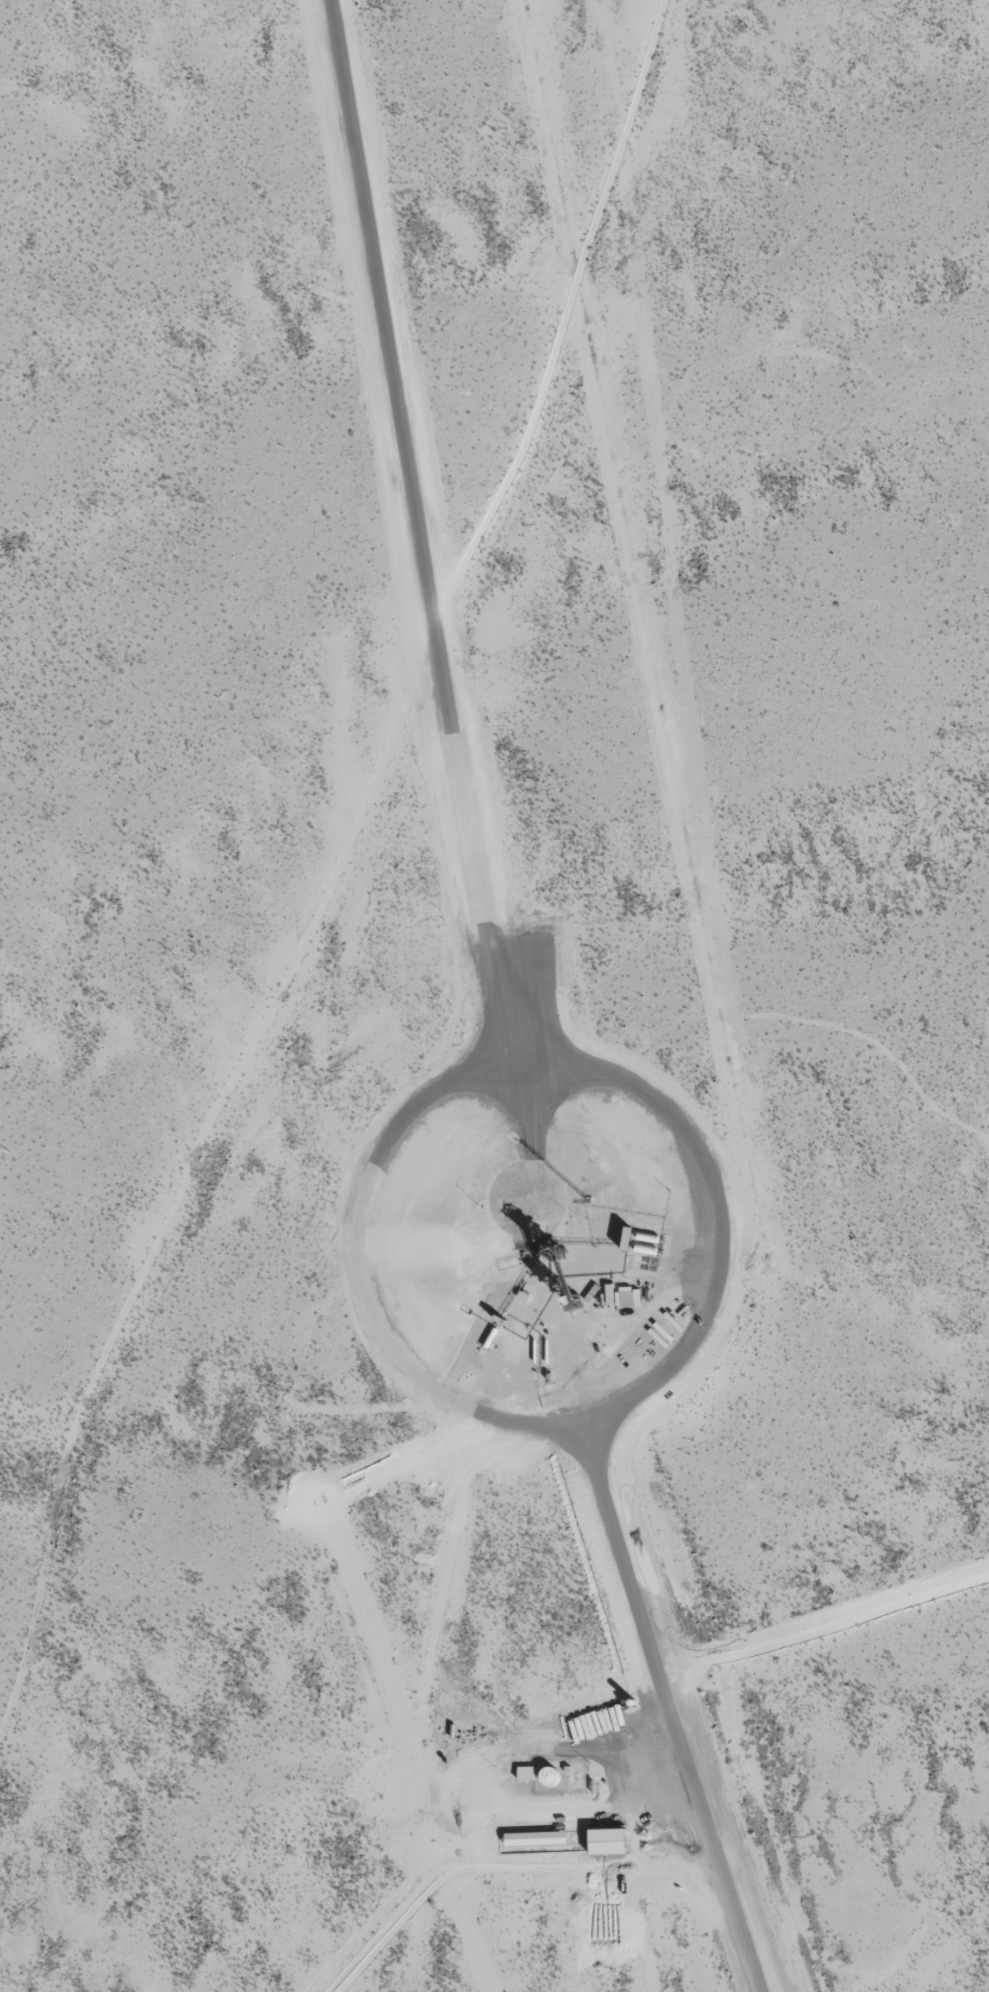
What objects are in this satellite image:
road: (313, 802)
road: (543, 1047)
building: (559, 1243)
building: (575, 1294)
building: (524, 1773)
building: (547, 1777)
building: (542, 1839)

